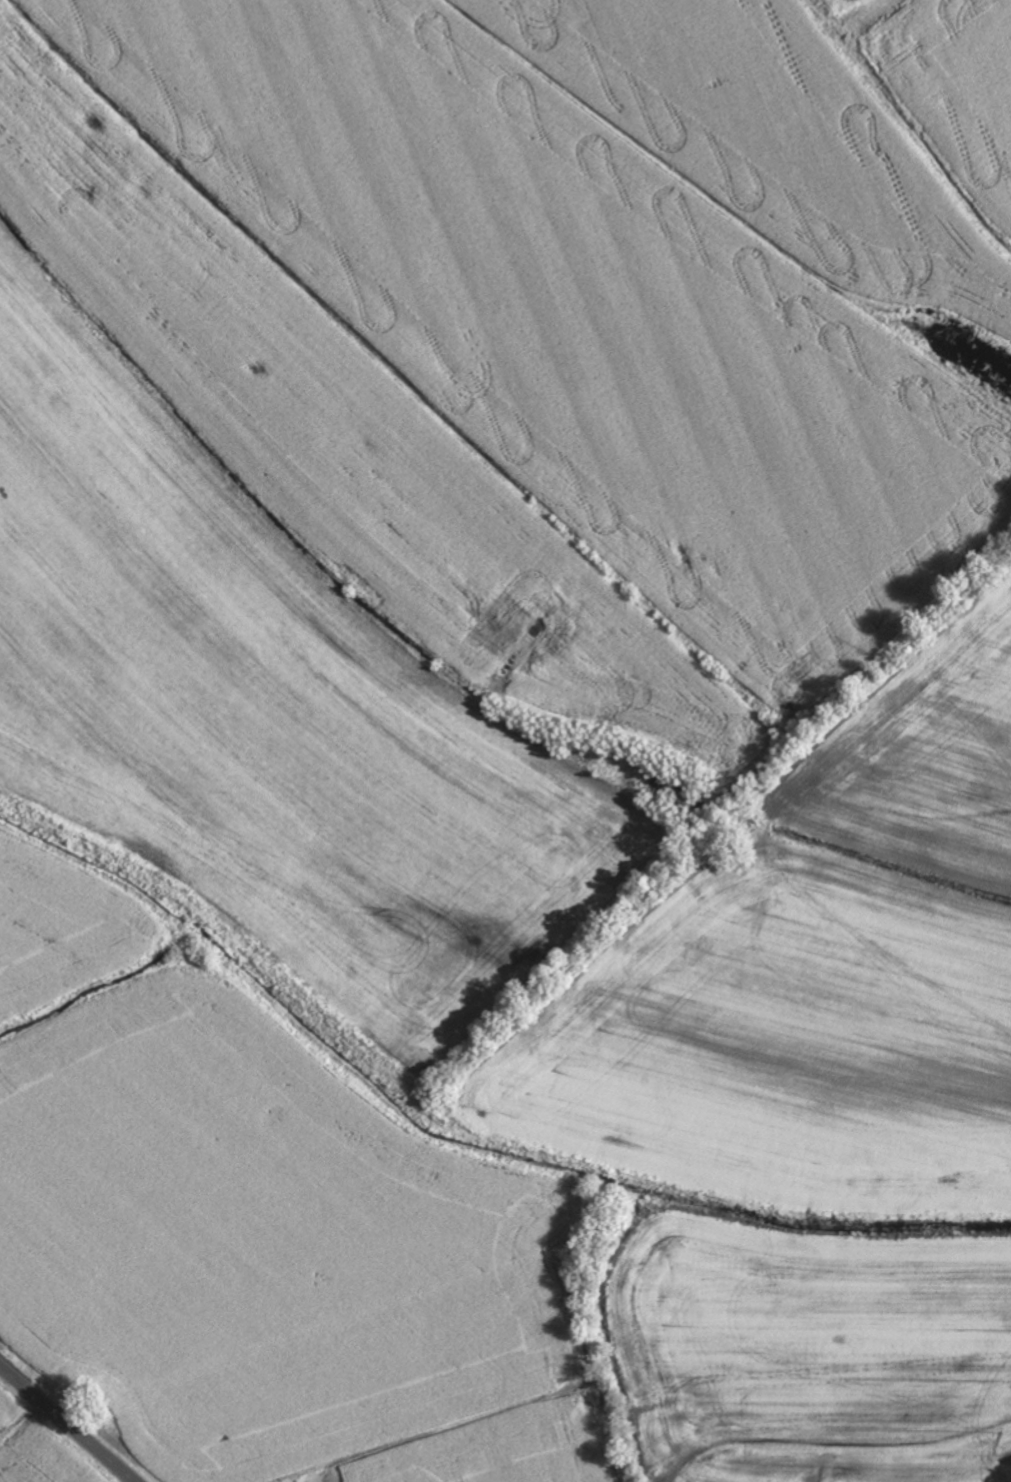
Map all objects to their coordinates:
road: (67, 1424)

